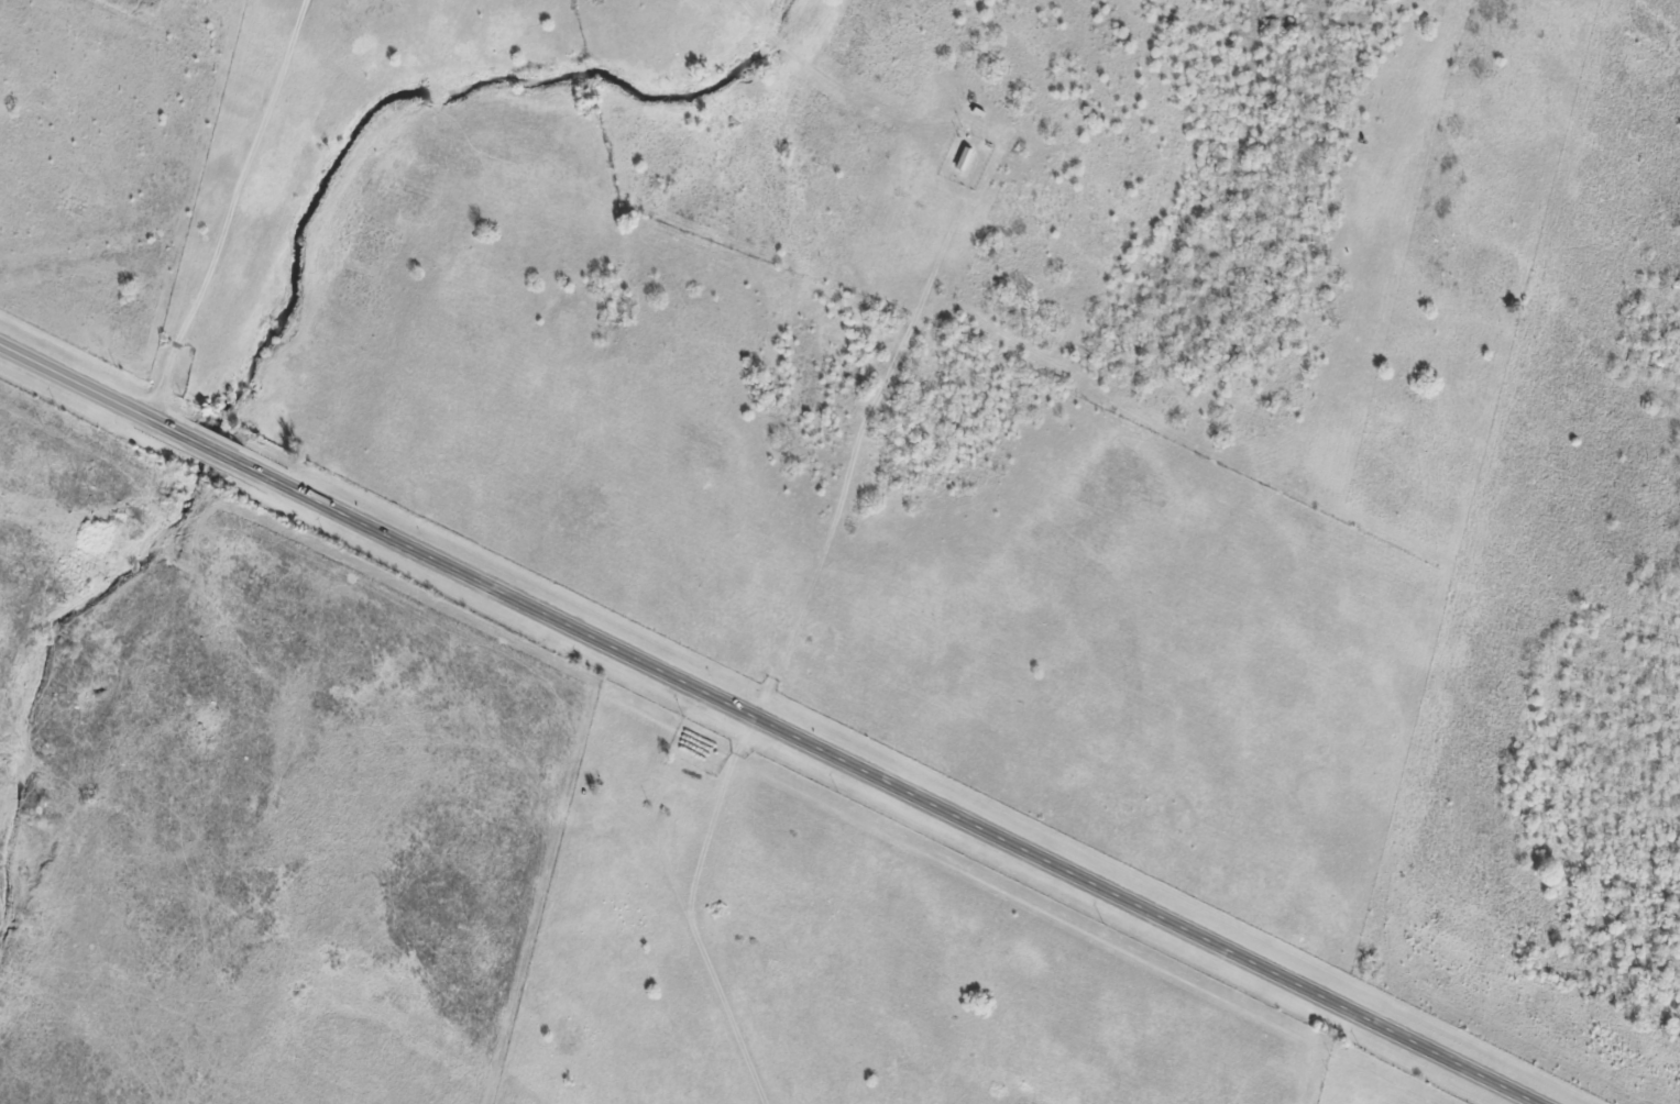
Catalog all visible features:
building: (963, 151)
building: (922, 175)
road: (776, 720)

